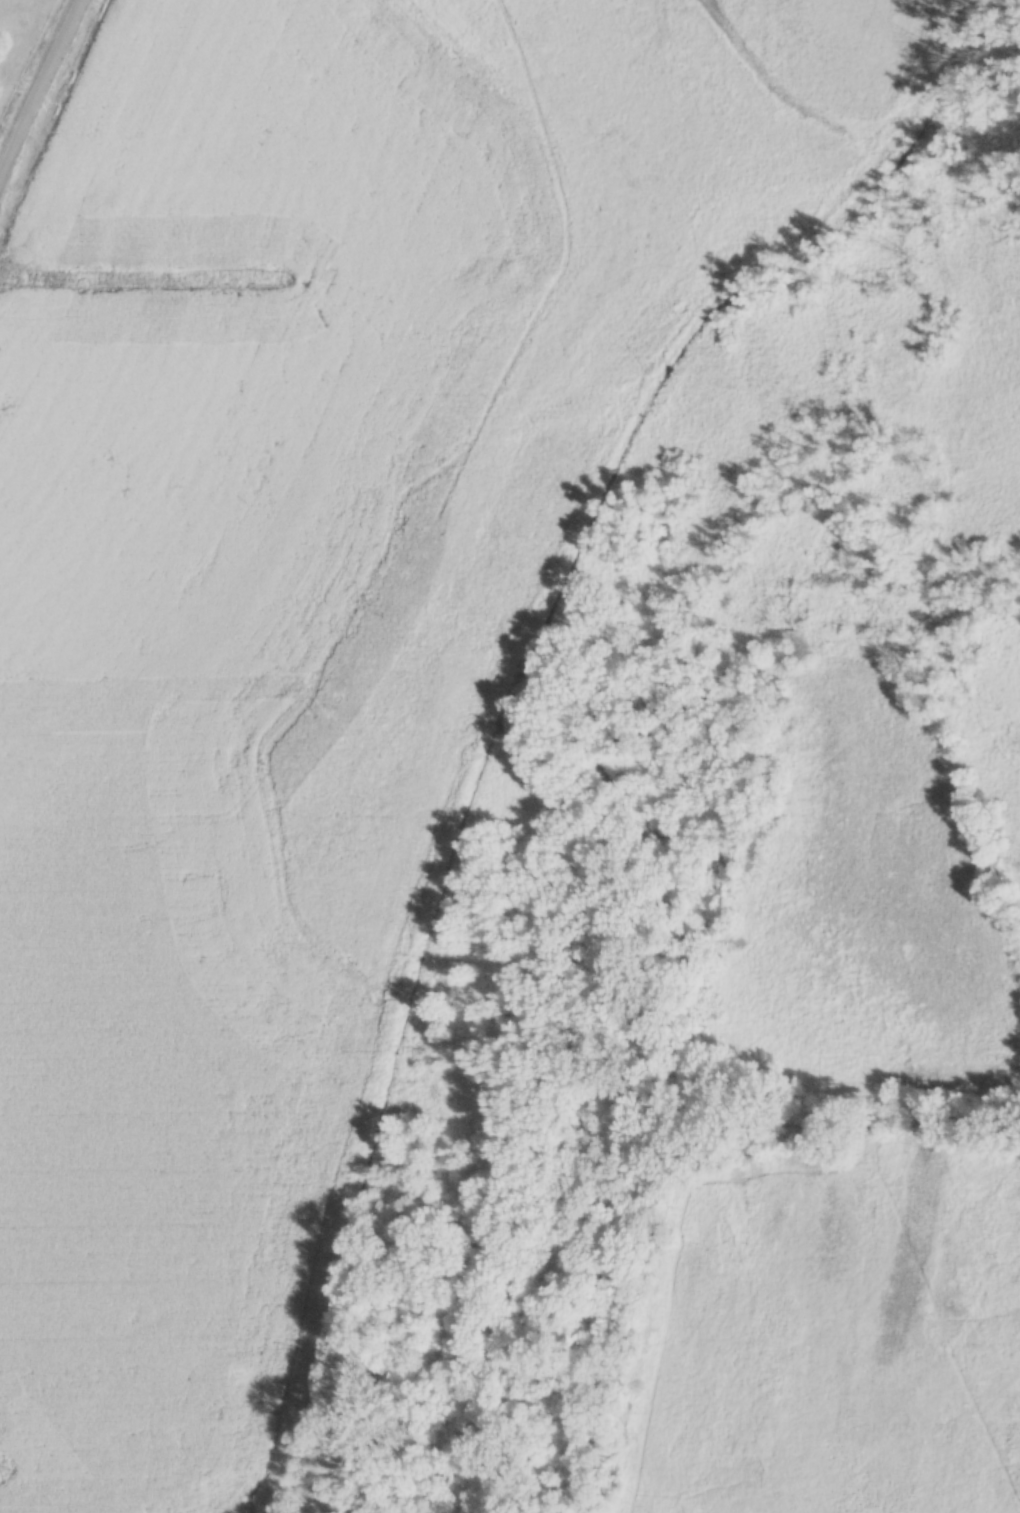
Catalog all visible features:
road: (40, 86)

